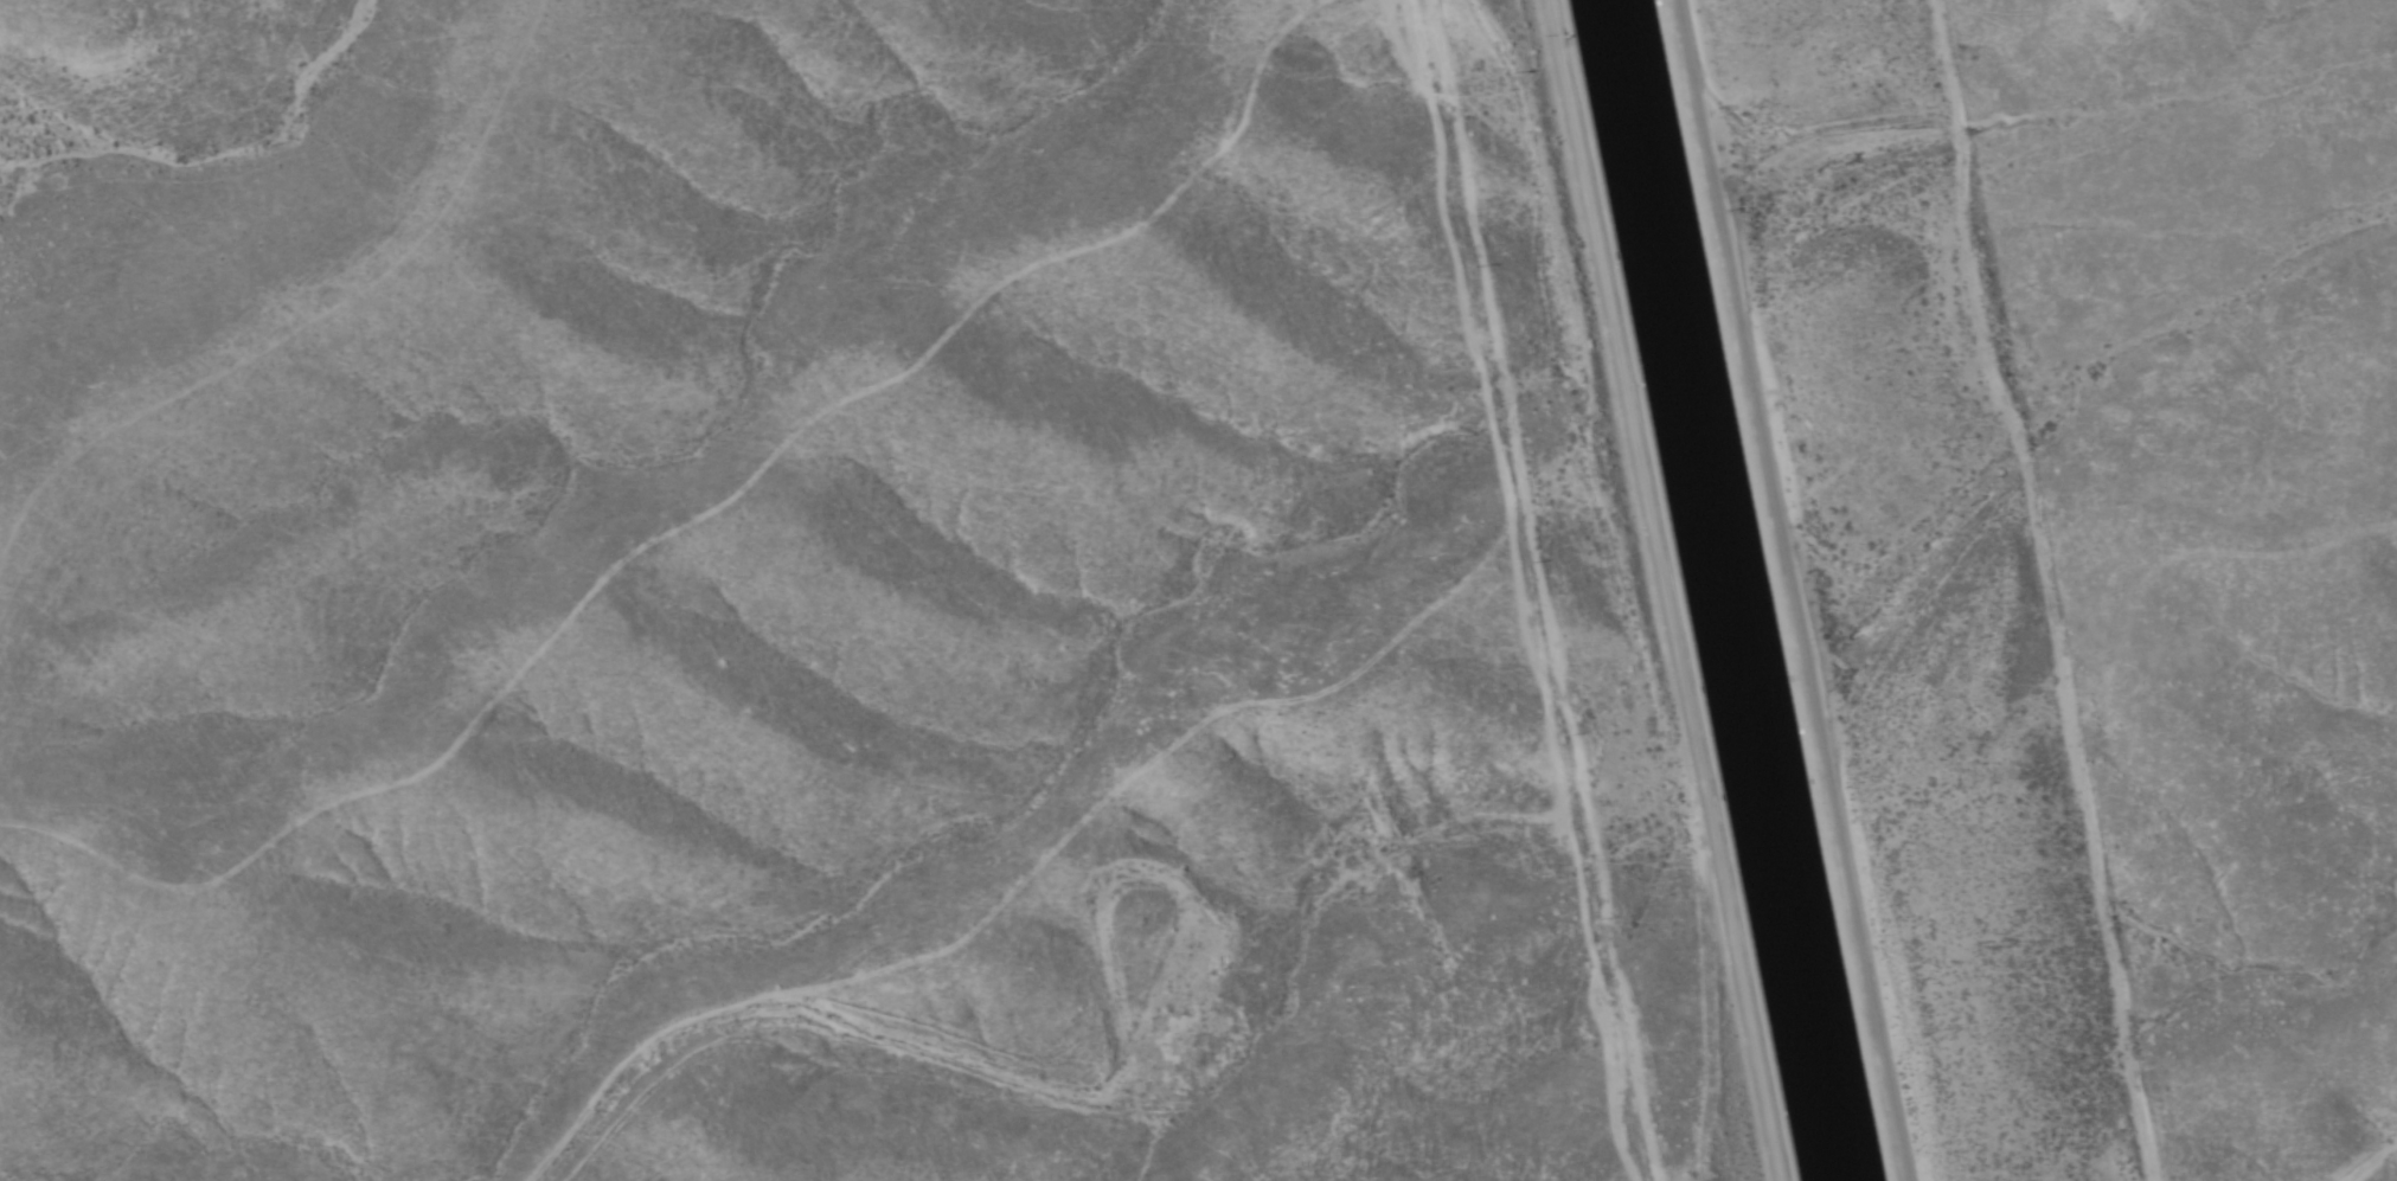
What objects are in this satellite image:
road: (1517, 586)
road: (2051, 586)
road: (1666, 590)
road: (1792, 590)
road: (1115, 925)
road: (832, 1031)

